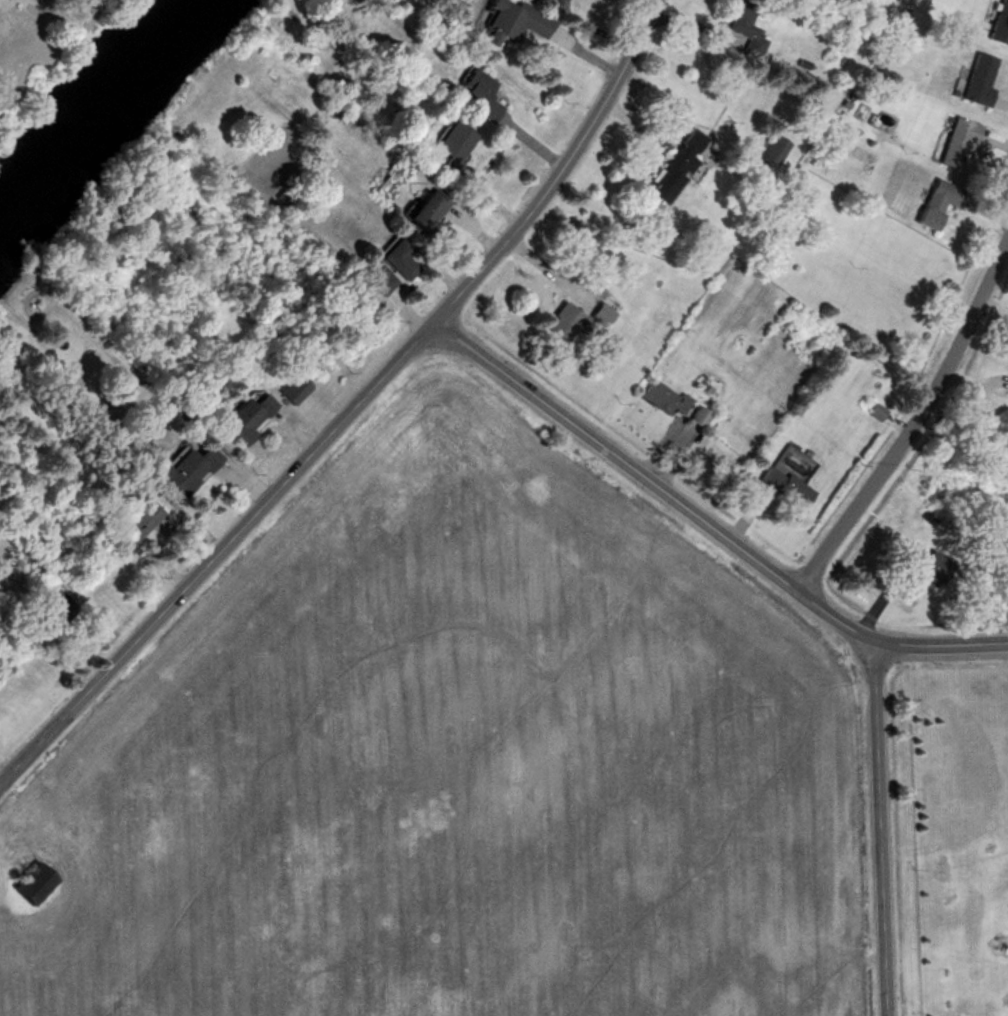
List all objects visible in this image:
building: (548, 2)
building: (508, 20)
building: (999, 20)
building: (741, 28)
building: (976, 77)
river: (75, 100)
building: (447, 140)
building: (955, 141)
building: (770, 149)
building: (671, 168)
building: (933, 202)
building: (419, 210)
building: (387, 264)
road: (541, 270)
building: (598, 314)
building: (565, 323)
building: (287, 390)
building: (661, 398)
road: (351, 407)
building: (875, 411)
building: (243, 416)
building: (696, 416)
road: (911, 417)
building: (182, 469)
building: (781, 486)
building: (136, 521)
road: (704, 521)
building: (923, 566)
building: (51, 617)
road: (875, 827)
building: (26, 884)

